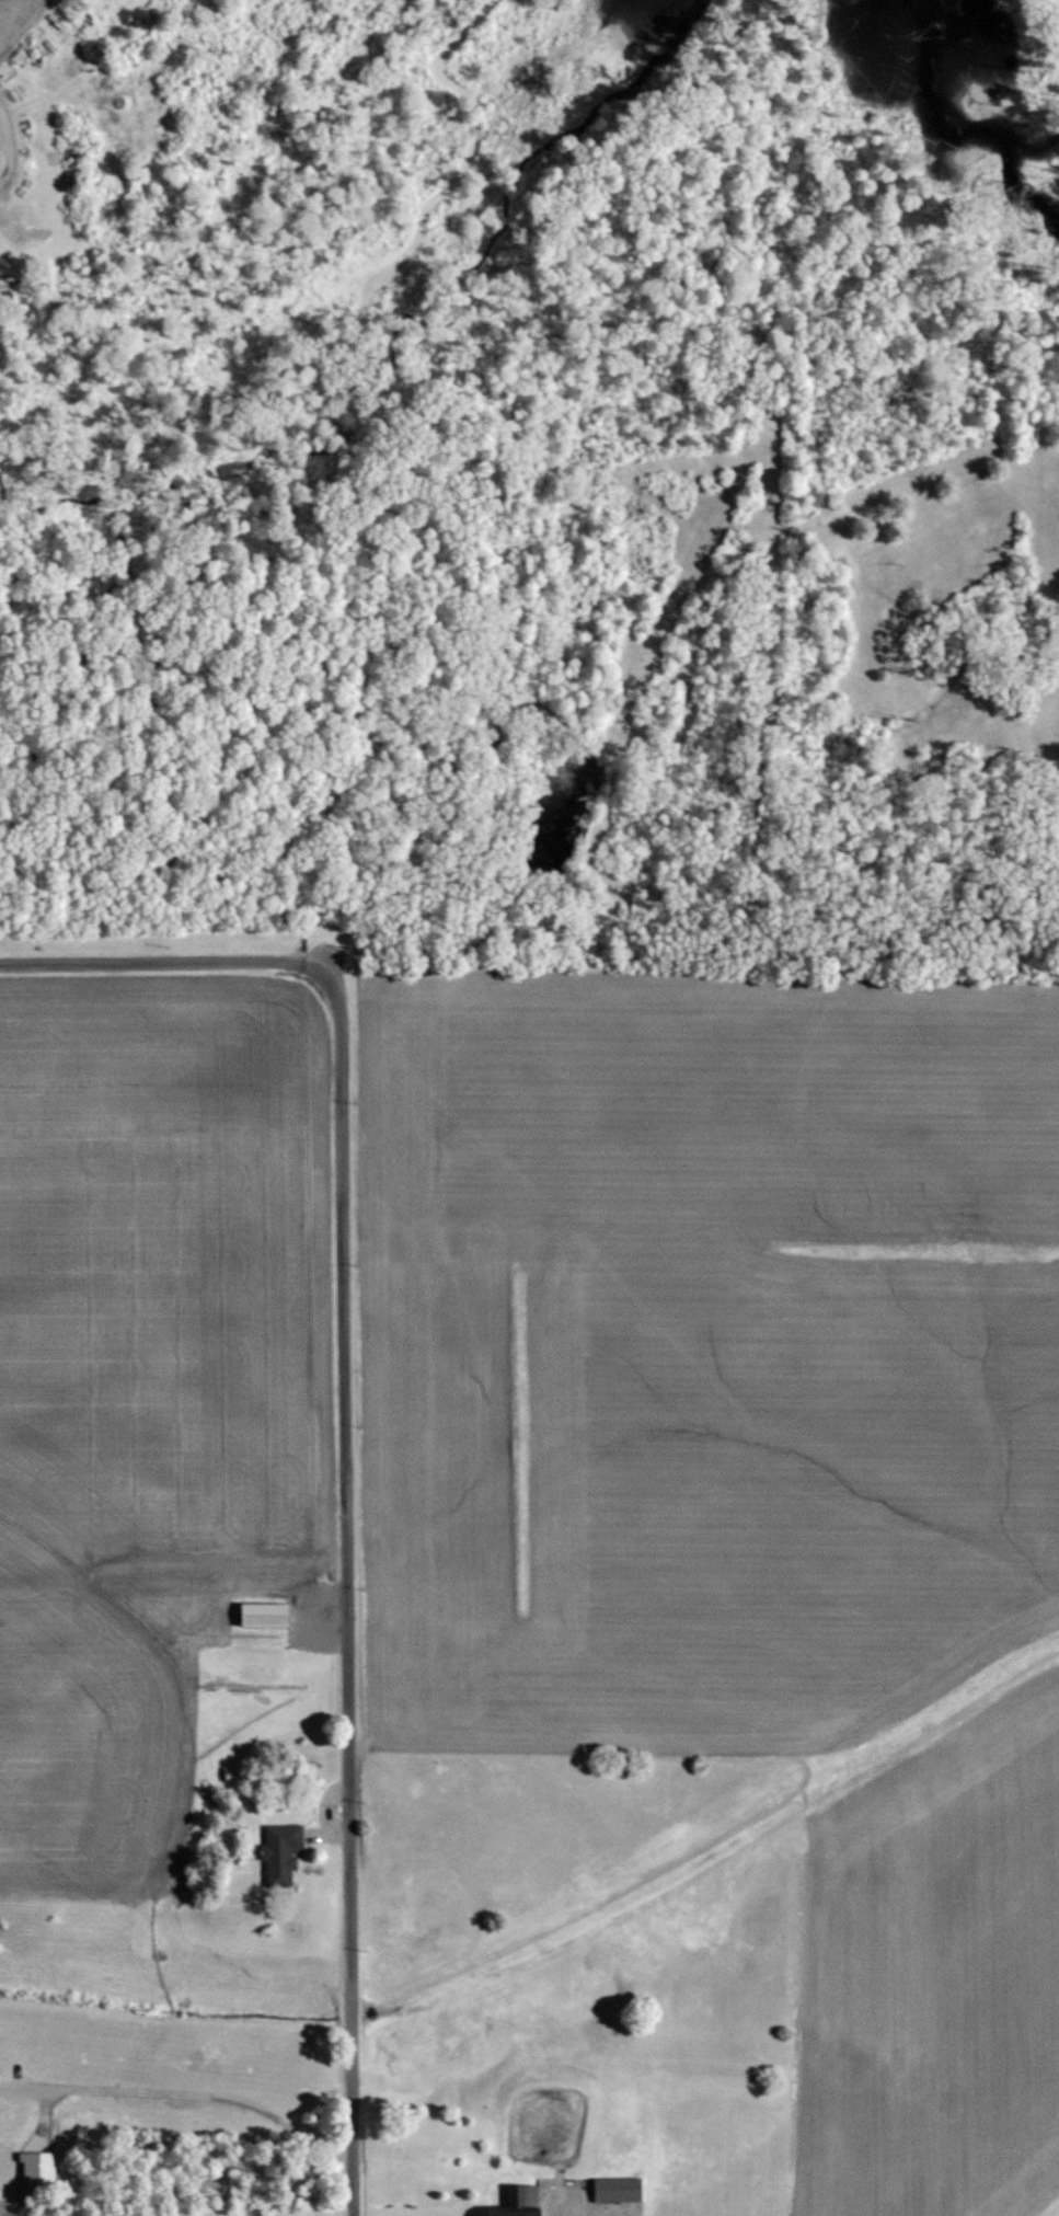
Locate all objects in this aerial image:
road: (16, 22)
road: (10, 148)
road: (468, 157)
road: (770, 885)
road: (158, 961)
road: (346, 1588)
building: (266, 1614)
building: (280, 1851)
building: (38, 2170)
building: (618, 2189)
building: (519, 2201)

